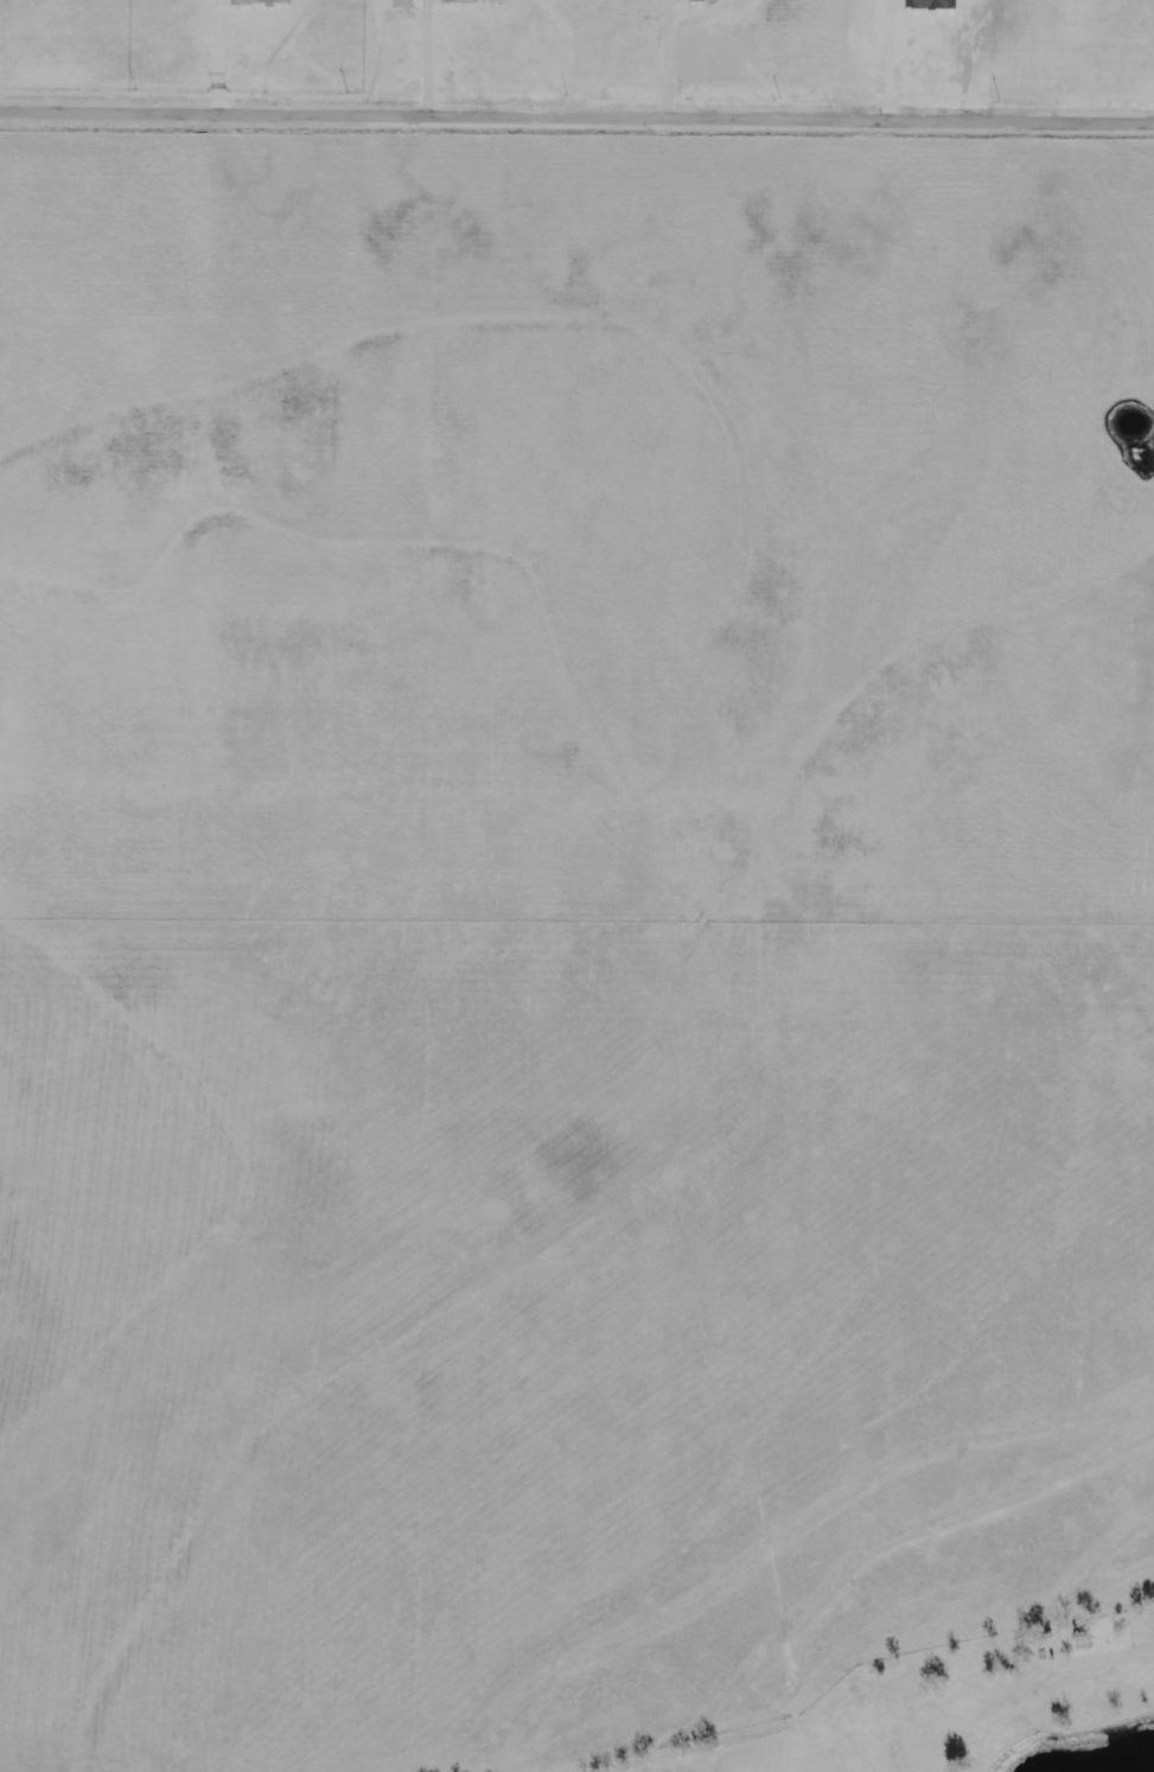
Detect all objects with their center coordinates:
building: (703, 0)
building: (263, 1)
road: (218, 53)
road: (429, 55)
road: (669, 57)
road: (576, 110)
building: (1079, 1640)

